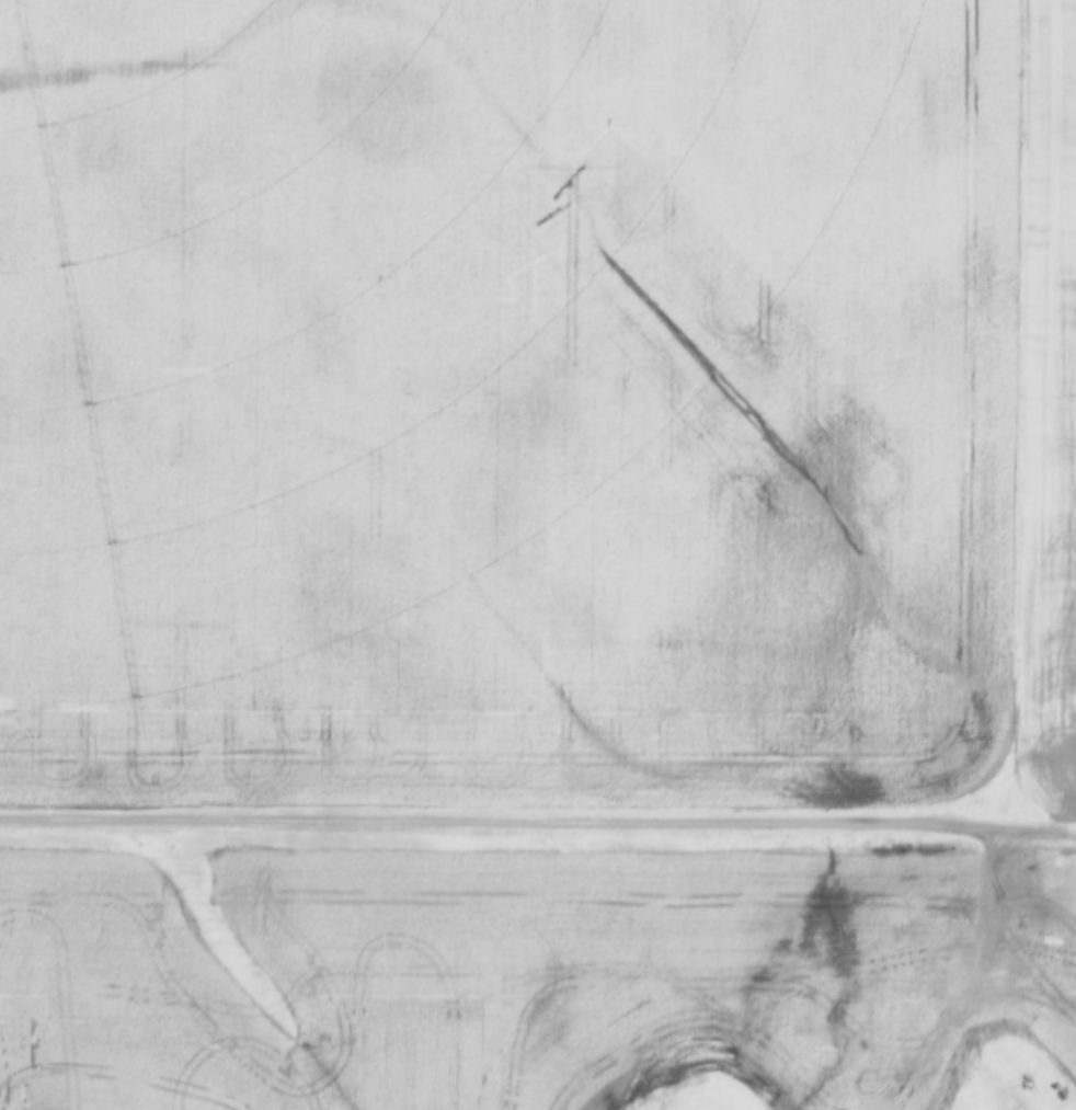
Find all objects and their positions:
road: (505, 819)
crop: (558, 983)

